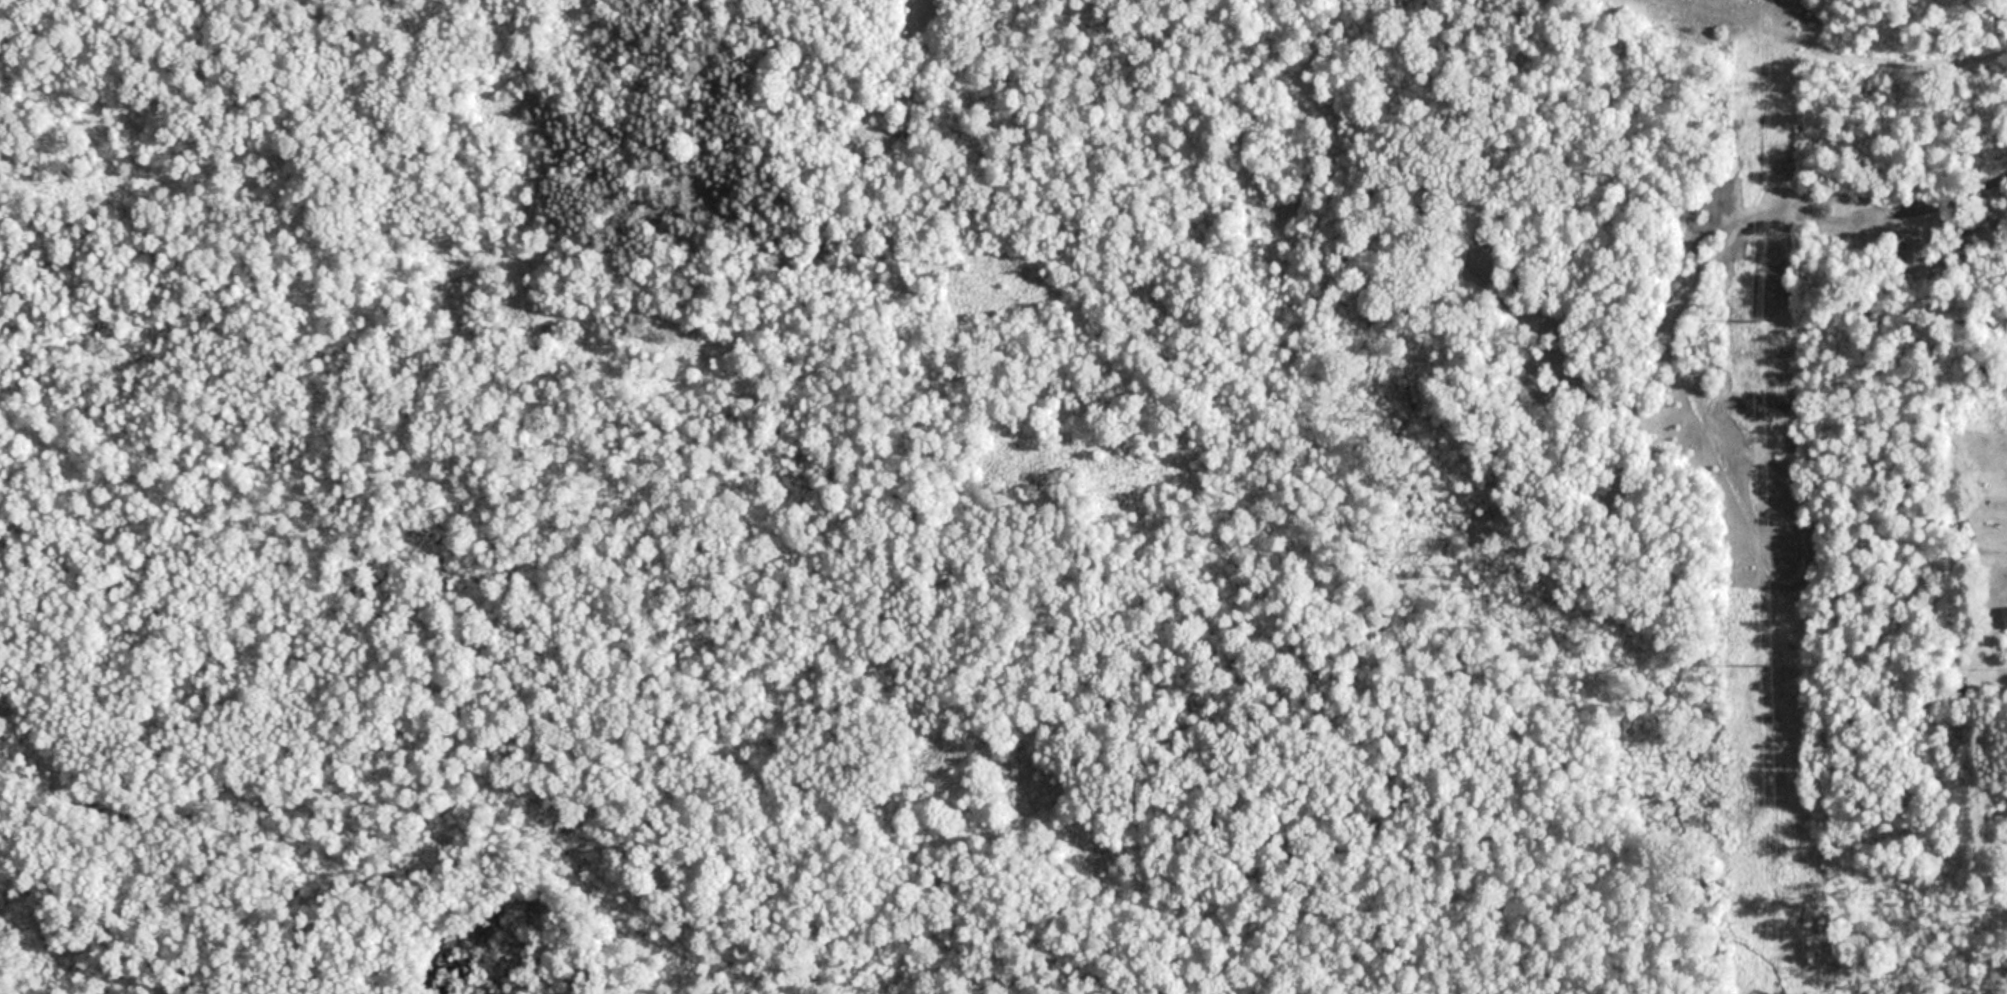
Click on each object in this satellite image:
power tower: (1759, 323)
park: (888, 540)
building: (2005, 616)
power tower: (1771, 666)

